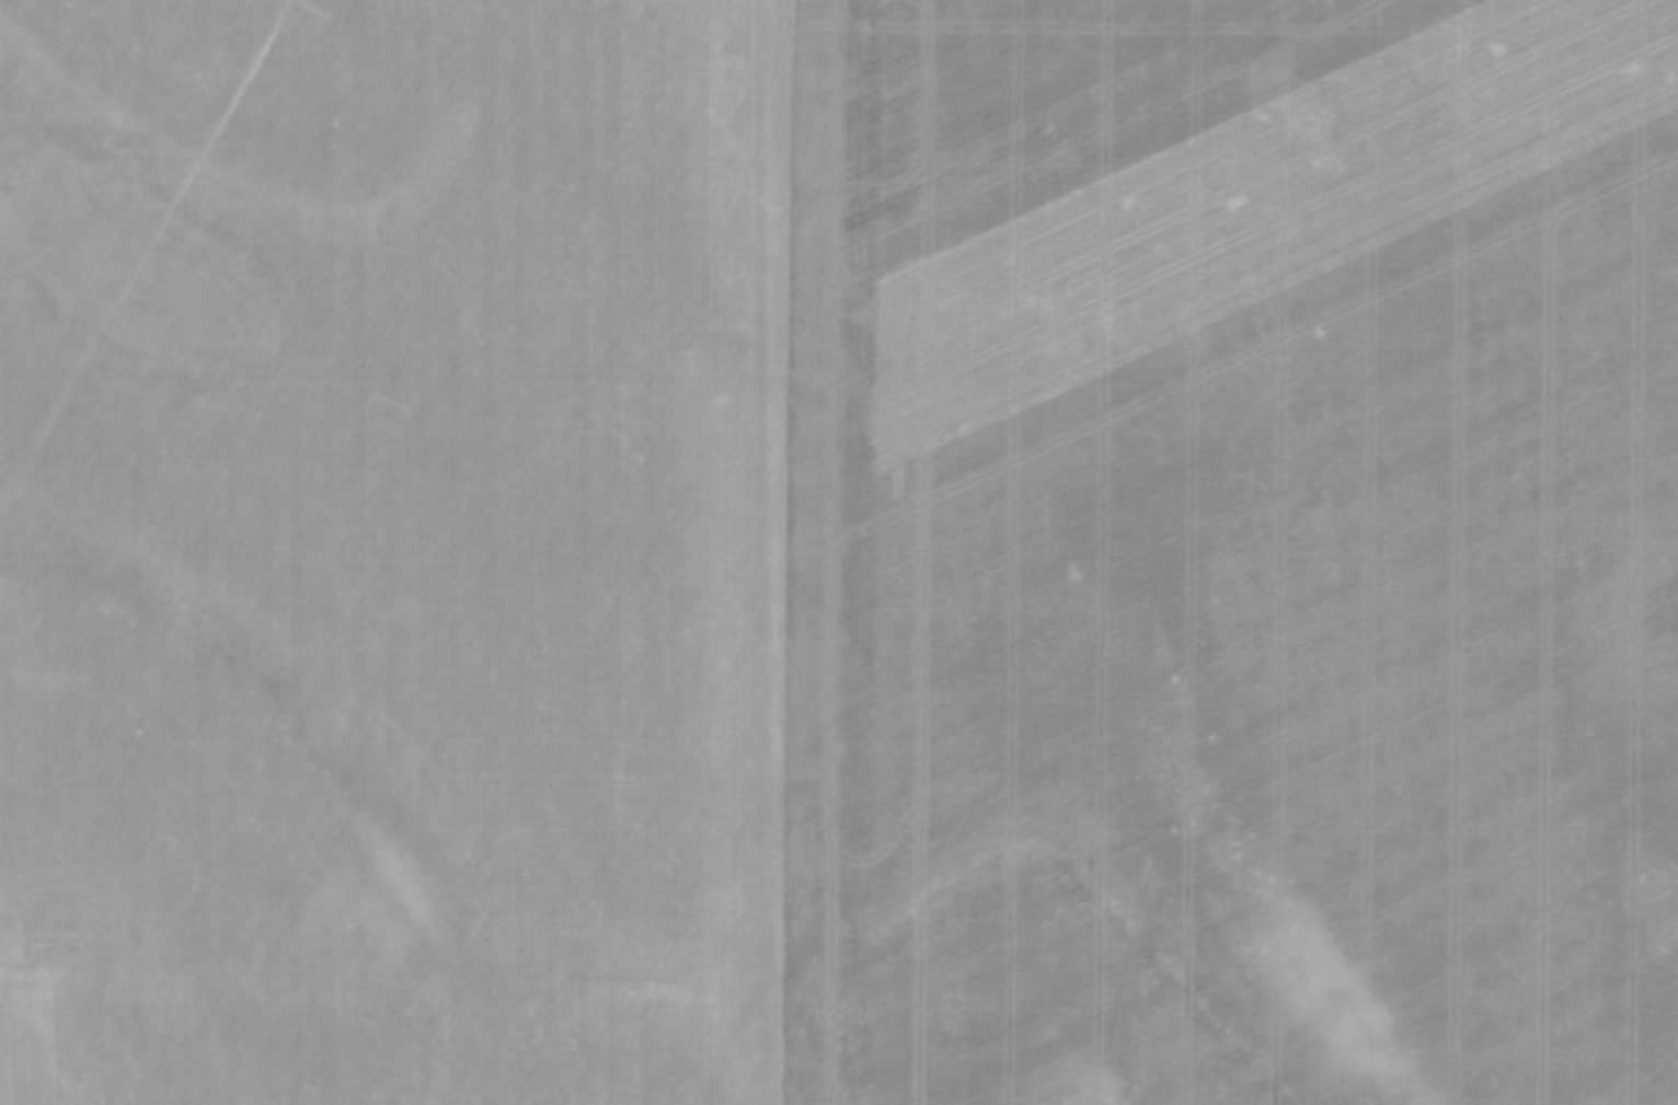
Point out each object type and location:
crop: (839, 552)

